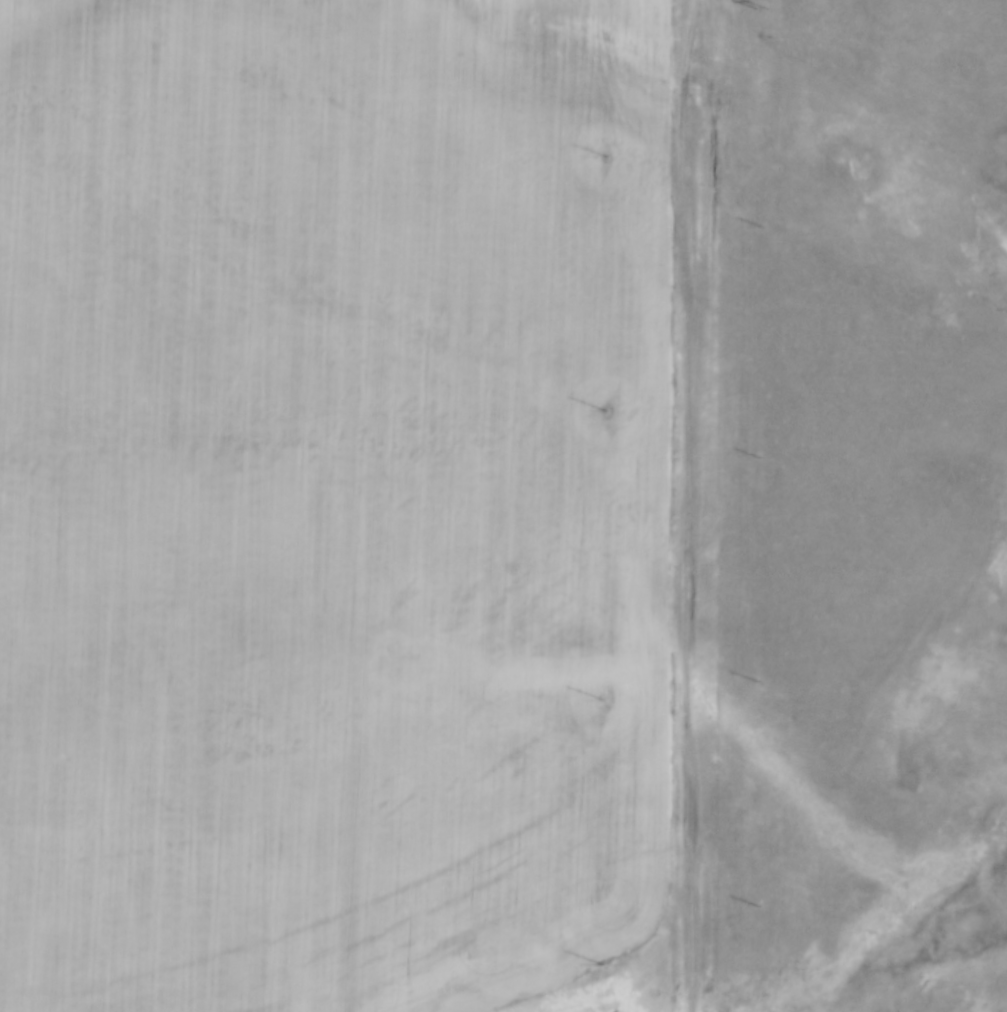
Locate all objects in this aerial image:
road: (692, 505)

